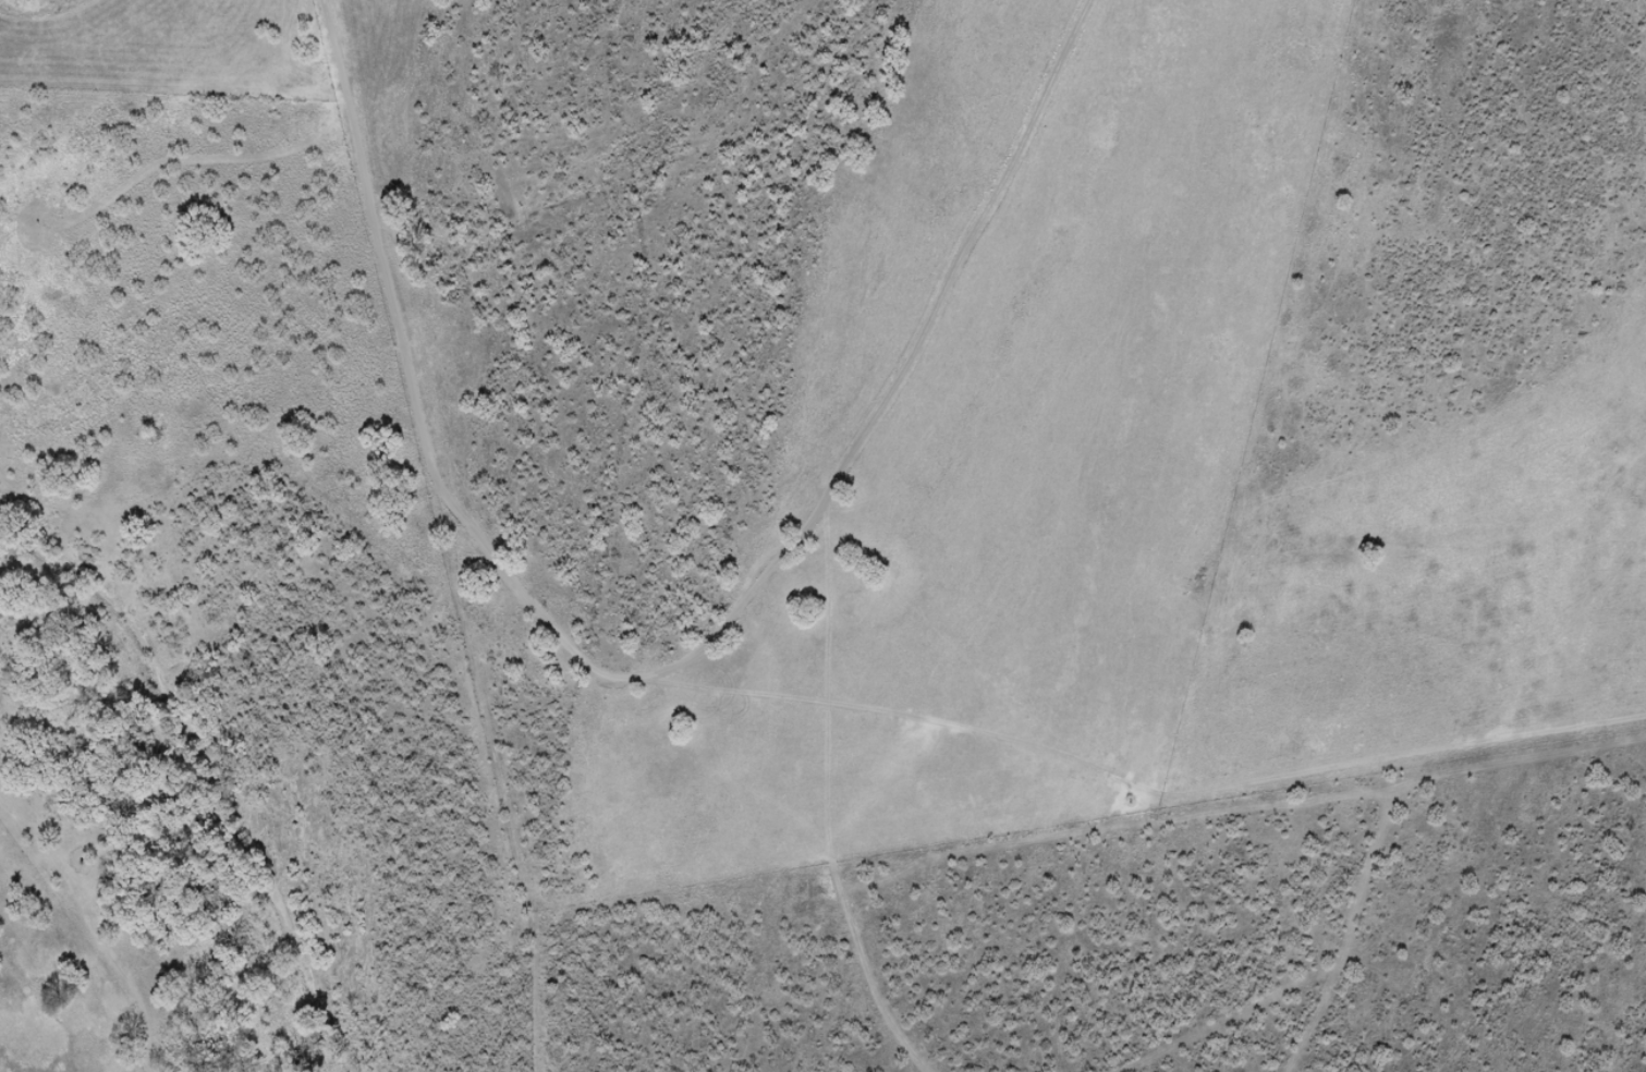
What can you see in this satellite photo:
road: (40, 994)

